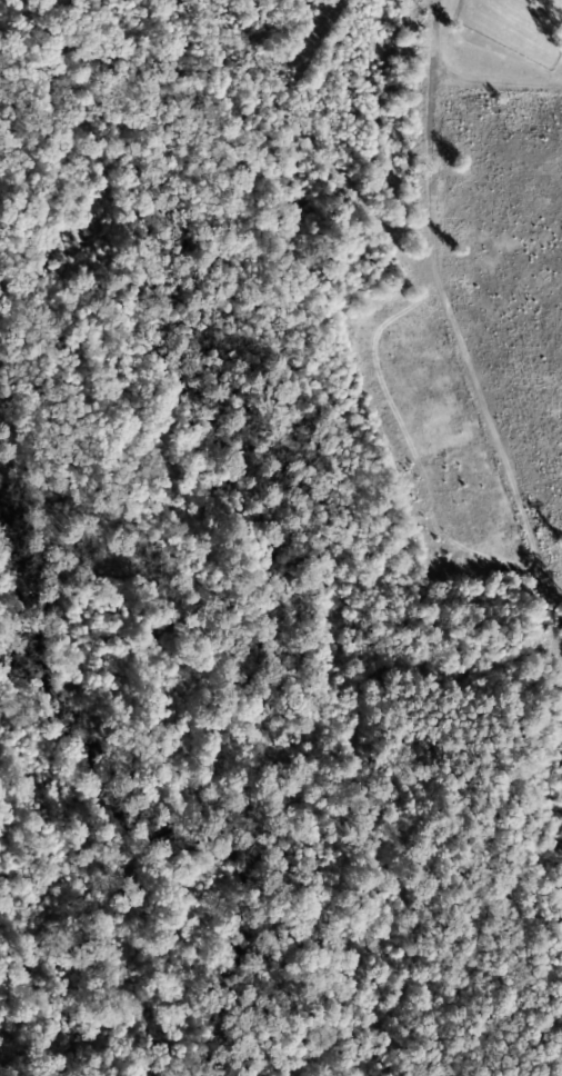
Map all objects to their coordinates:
road: (431, 338)

